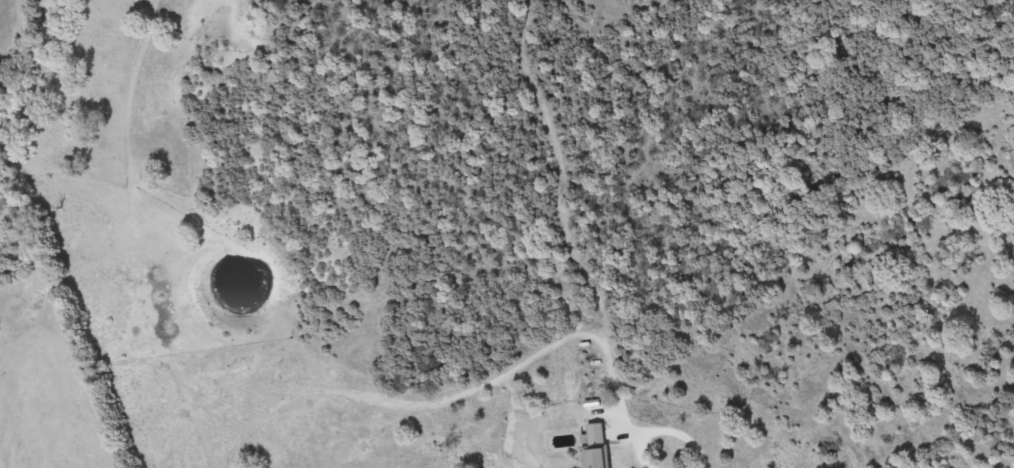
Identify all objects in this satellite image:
road: (664, 429)
building: (597, 445)

